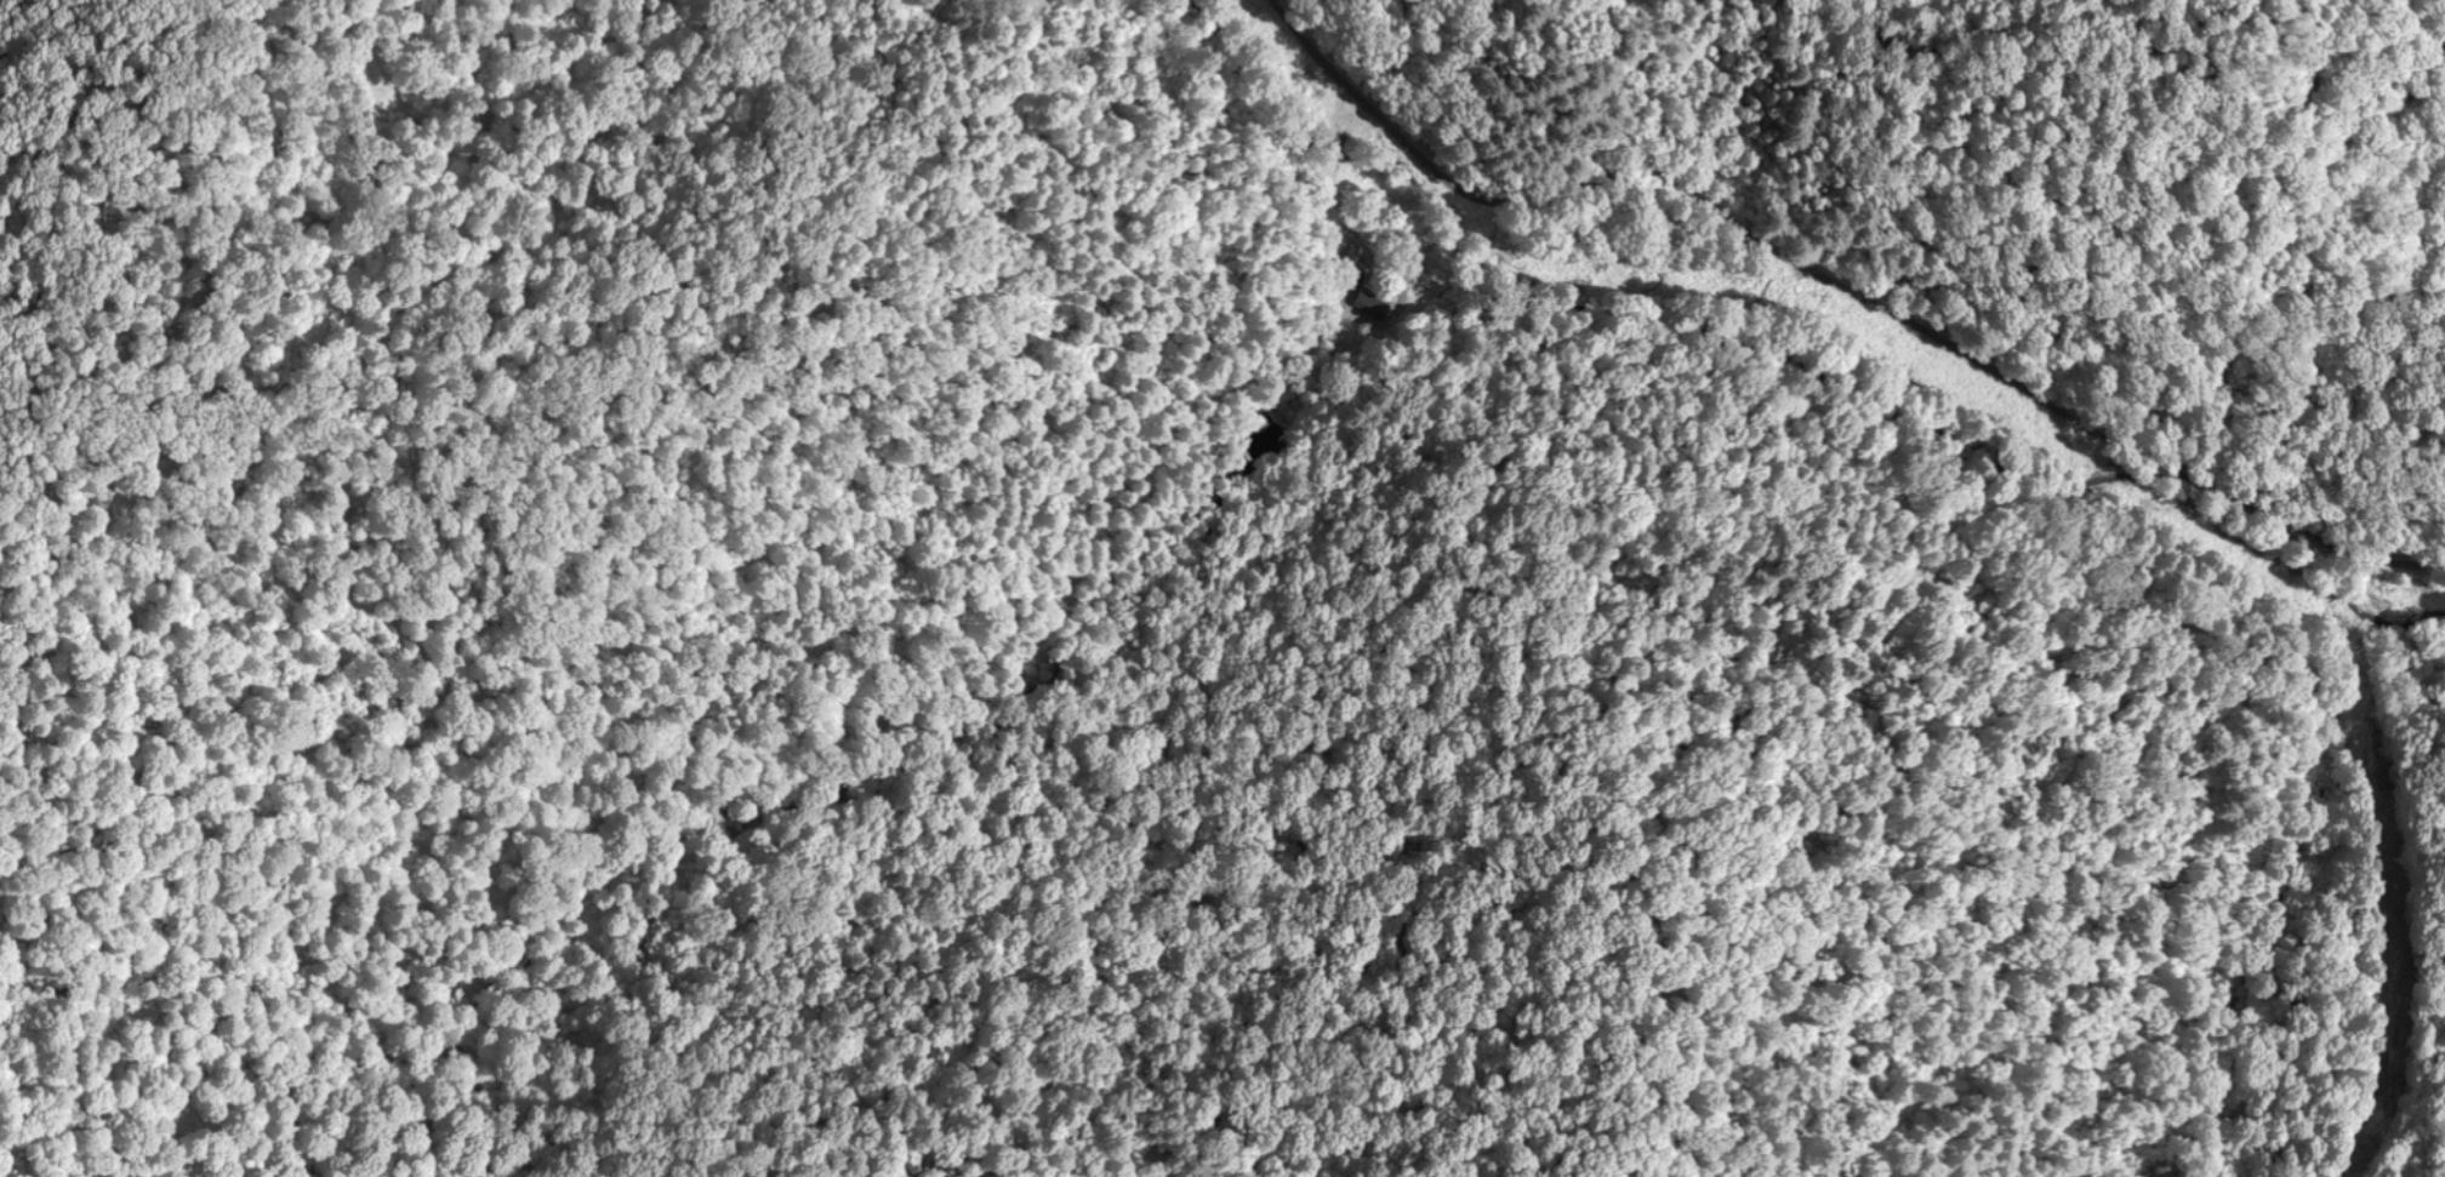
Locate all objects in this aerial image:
road: (1841, 281)

